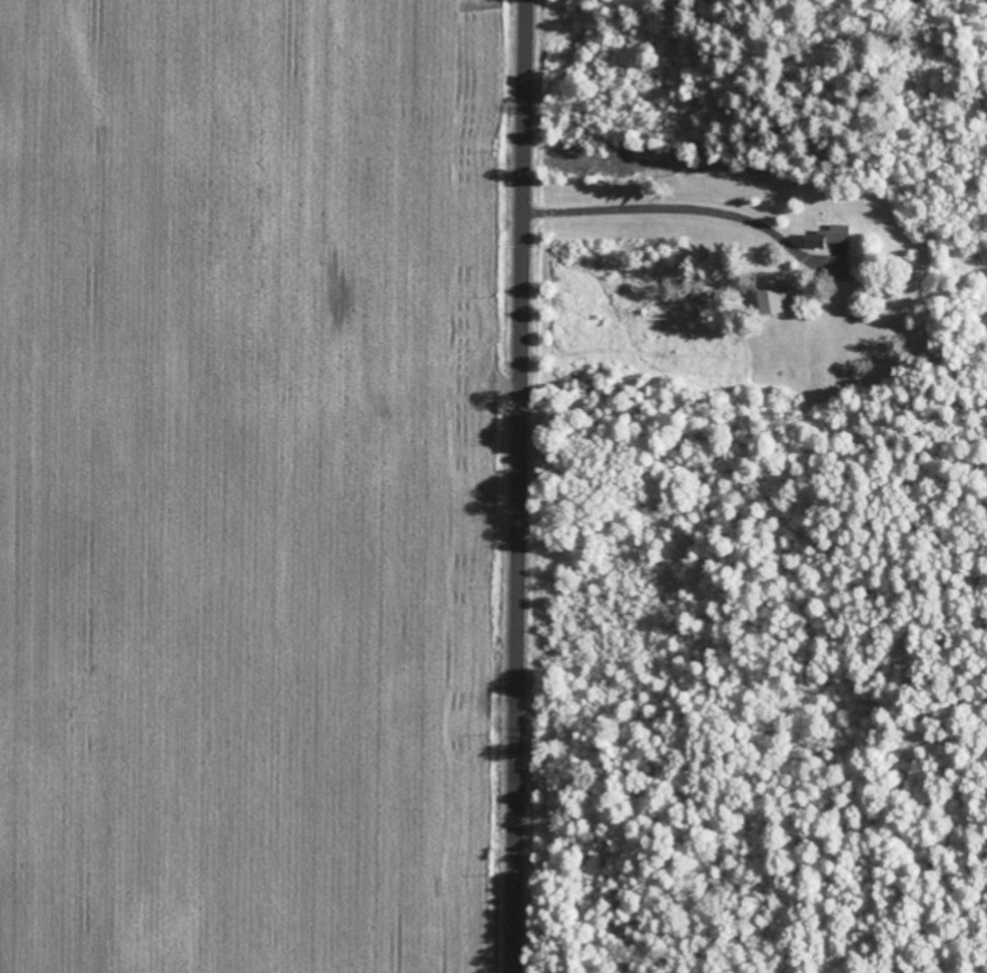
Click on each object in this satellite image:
building: (830, 234)
building: (772, 293)
road: (531, 486)

